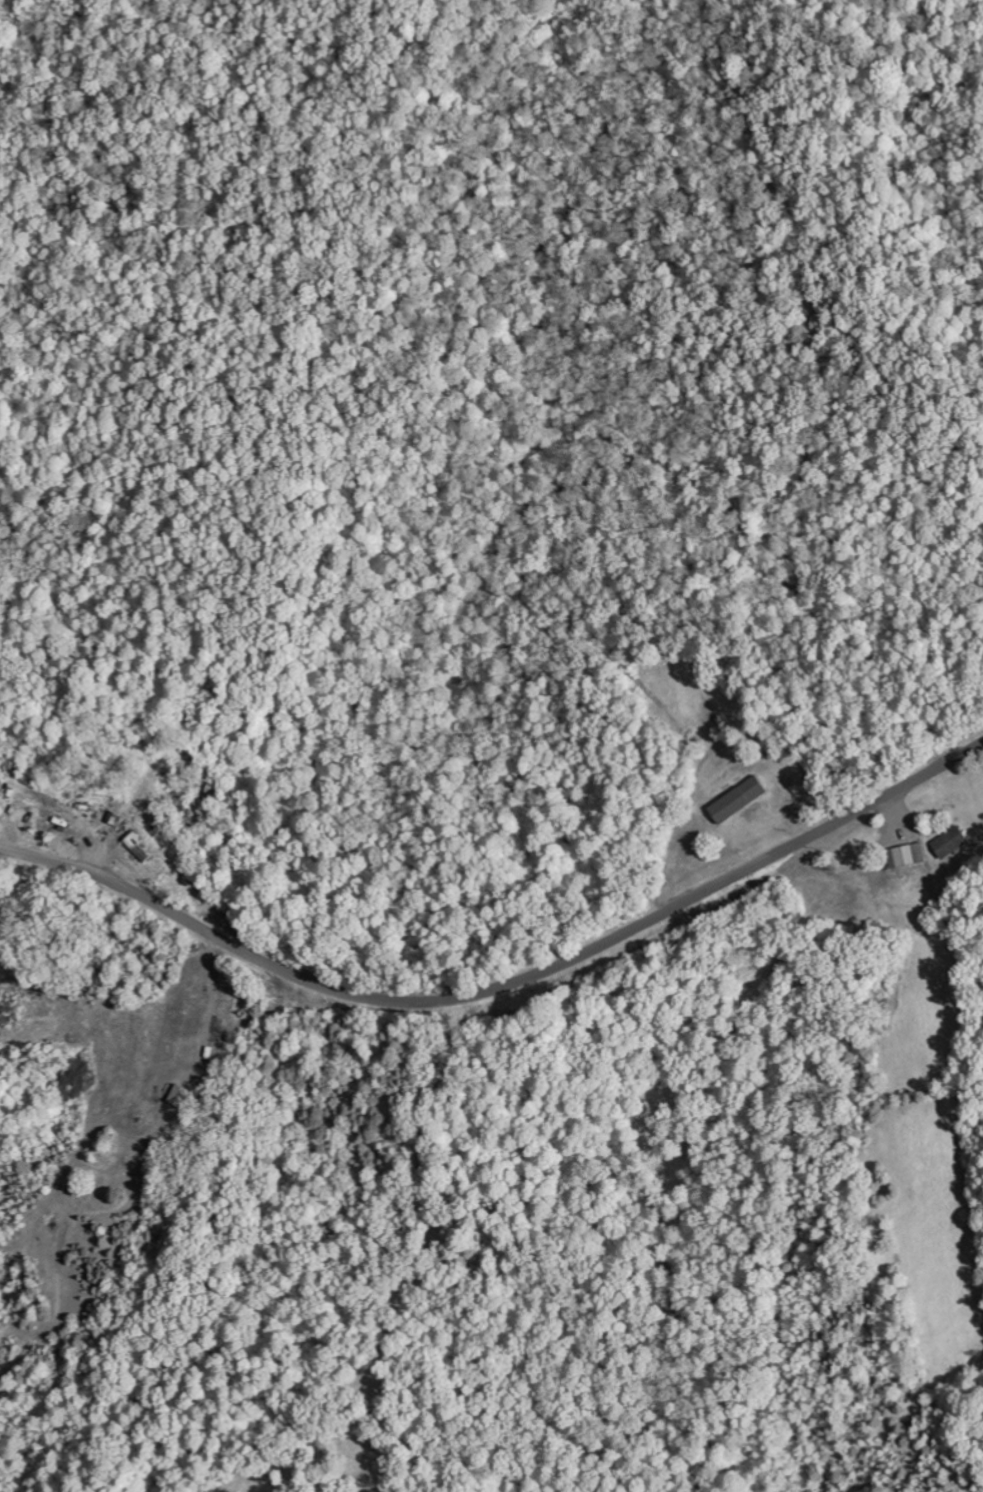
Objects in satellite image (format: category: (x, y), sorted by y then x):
building: (735, 800)
building: (948, 842)
building: (903, 855)
road: (504, 983)
road: (34, 995)
building: (177, 1096)

